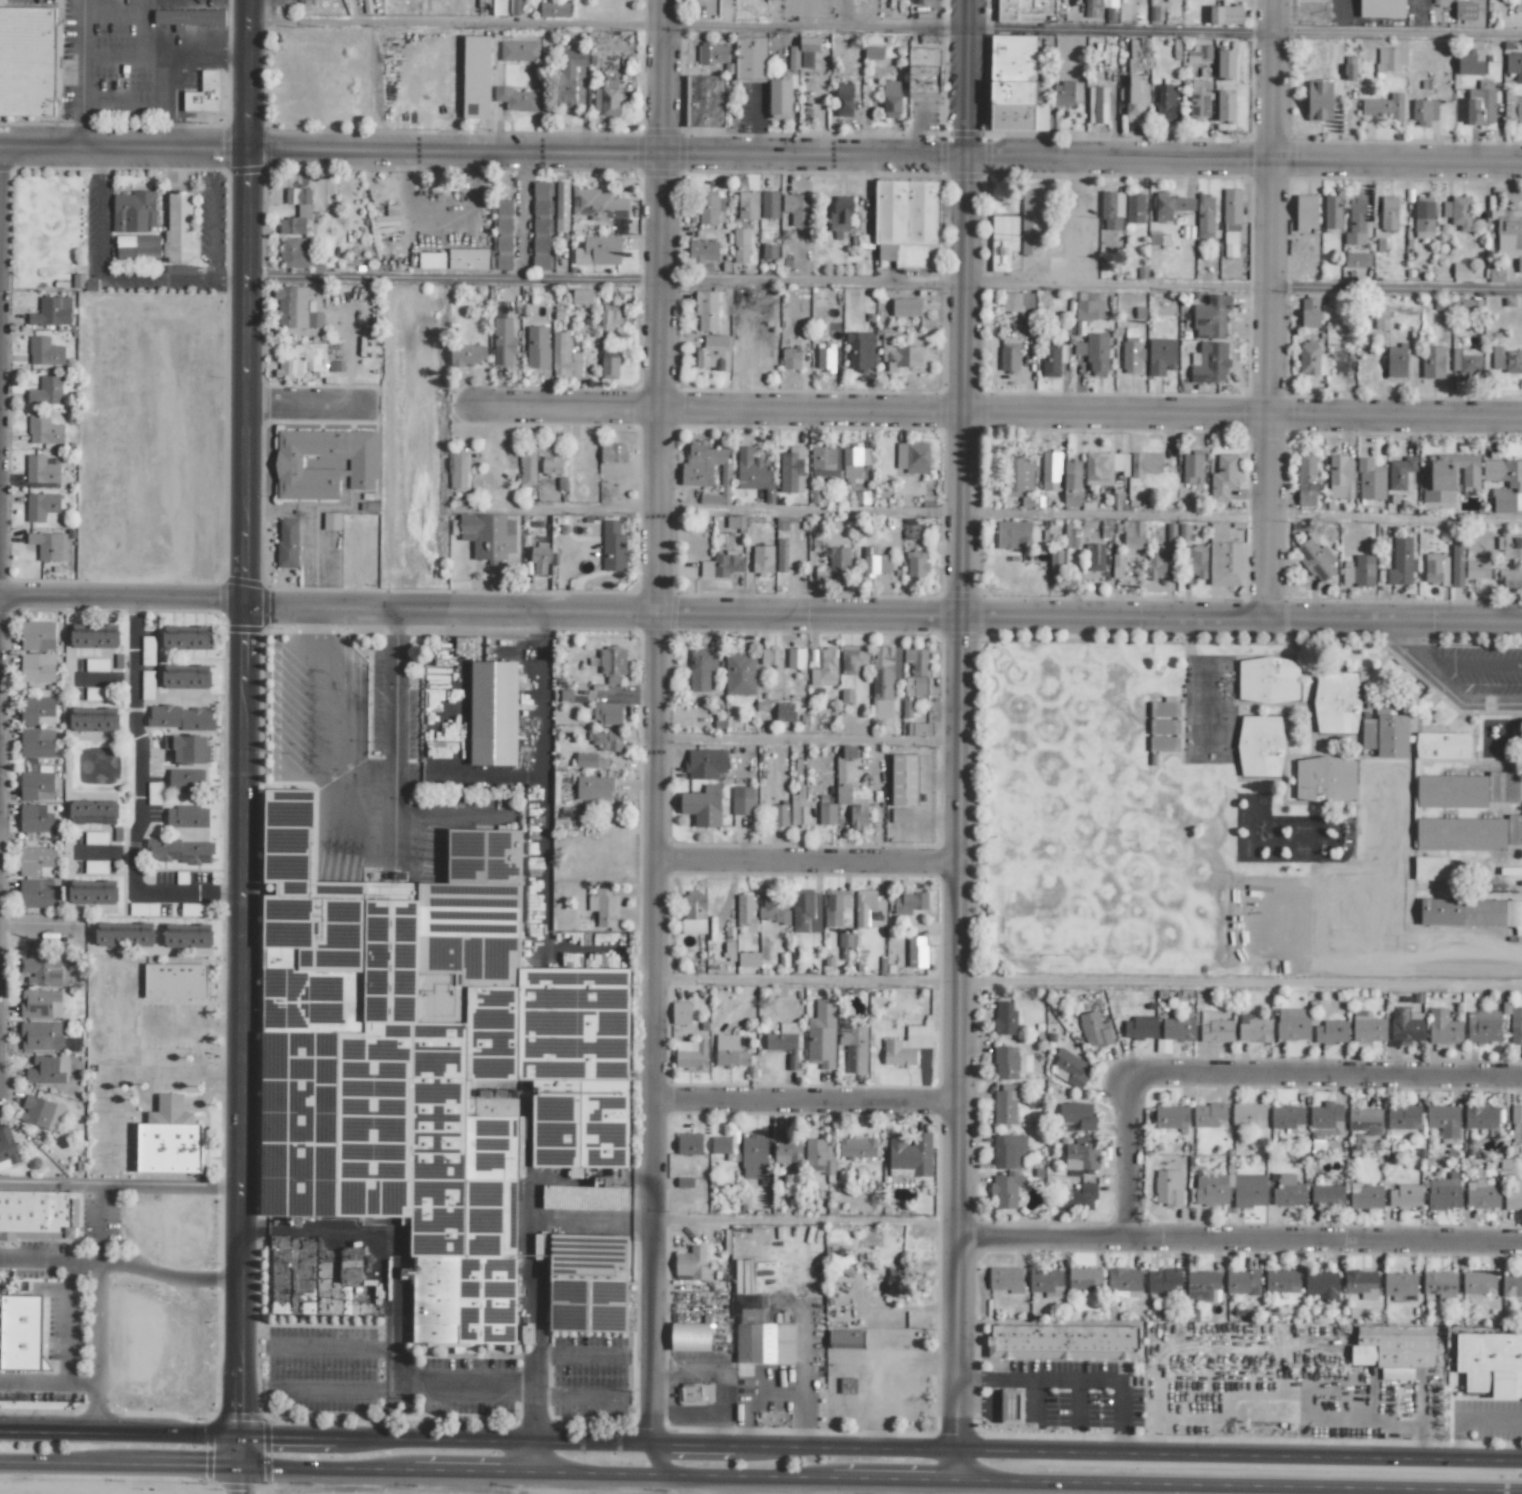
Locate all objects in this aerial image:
building: (1519, 6)
building: (499, 7)
building: (516, 7)
building: (1381, 8)
building: (554, 9)
building: (1024, 10)
building: (1111, 11)
building: (1465, 11)
building: (1225, 14)
building: (188, 18)
road: (457, 21)
road: (1092, 29)
building: (519, 51)
road: (128, 52)
building: (808, 52)
road: (190, 53)
building: (712, 53)
building: (873, 53)
building: (1139, 53)
building: (1198, 54)
building: (793, 57)
building: (750, 59)
building: (1389, 60)
building: (27, 61)
building: (1470, 61)
building: (1226, 65)
building: (1514, 66)
building: (923, 72)
building: (1349, 72)
building: (568, 76)
building: (476, 77)
road: (81, 78)
building: (609, 83)
building: (1014, 85)
building: (204, 93)
building: (1063, 94)
road: (158, 97)
building: (780, 98)
building: (1135, 98)
building: (516, 99)
building: (891, 99)
building: (1199, 99)
building: (703, 100)
building: (843, 100)
building: (606, 101)
building: (1319, 101)
building: (1165, 103)
building: (1097, 105)
building: (1225, 106)
building: (1480, 106)
building: (1384, 107)
building: (1513, 108)
building: (1423, 111)
road: (760, 154)
building: (542, 199)
building: (561, 204)
building: (769, 204)
building: (598, 205)
building: (748, 205)
building: (1169, 205)
building: (709, 207)
building: (504, 208)
building: (796, 208)
building: (1134, 208)
building: (304, 210)
building: (1111, 210)
building: (133, 211)
building: (1332, 211)
building: (1306, 212)
building: (1458, 212)
building: (1389, 214)
building: (840, 215)
building: (1205, 215)
building: (1423, 217)
building: (1032, 218)
road: (213, 219)
road: (1073, 221)
building: (1356, 221)
building: (907, 222)
building: (1231, 222)
building: (502, 226)
building: (179, 227)
building: (1509, 235)
building: (1005, 242)
building: (541, 243)
building: (740, 245)
building: (598, 251)
building: (769, 251)
building: (703, 252)
building: (294, 253)
building: (502, 253)
building: (467, 259)
building: (1357, 259)
building: (431, 260)
building: (1462, 270)
building: (1493, 272)
road: (120, 275)
road: (456, 277)
road: (812, 280)
road: (1241, 287)
building: (584, 297)
building: (1018, 303)
building: (1442, 305)
building: (906, 307)
building: (295, 309)
building: (1088, 309)
building: (51, 311)
road: (1272, 311)
building: (1309, 312)
building: (1211, 317)
building: (609, 318)
building: (1381, 319)
building: (1008, 342)
building: (503, 343)
building: (537, 347)
building: (44, 351)
building: (860, 351)
building: (1094, 352)
building: (713, 353)
building: (898, 353)
building: (468, 354)
building: (1161, 356)
building: (564, 357)
building: (825, 357)
building: (1131, 357)
building: (790, 359)
building: (1052, 359)
building: (1311, 359)
building: (1009, 360)
building: (1505, 360)
building: (304, 361)
building: (1396, 361)
building: (1467, 361)
building: (1432, 362)
building: (1210, 363)
building: (609, 365)
building: (1340, 365)
building: (46, 391)
road: (313, 405)
road: (991, 416)
building: (44, 430)
building: (614, 452)
building: (912, 457)
building: (824, 461)
building: (324, 462)
building: (854, 462)
building: (1145, 464)
building: (551, 465)
building: (527, 467)
building: (1101, 467)
building: (1192, 467)
building: (41, 470)
building: (458, 470)
building: (706, 470)
building: (791, 470)
building: (753, 471)
building: (1050, 471)
building: (1402, 473)
building: (1019, 474)
building: (1448, 476)
building: (1340, 477)
building: (1223, 478)
building: (1306, 480)
building: (1370, 480)
building: (1071, 483)
building: (1514, 484)
building: (41, 506)
road: (1116, 513)
building: (331, 520)
building: (1184, 532)
building: (910, 534)
building: (1013, 534)
building: (1133, 534)
building: (488, 536)
building: (1070, 536)
road: (304, 537)
building: (287, 543)
building: (46, 545)
building: (612, 546)
building: (1510, 546)
building: (781, 555)
building: (1095, 557)
building: (1223, 557)
building: (539, 559)
building: (762, 559)
building: (1315, 559)
building: (1194, 560)
building: (875, 562)
building: (1401, 562)
building: (1457, 562)
building: (839, 563)
building: (916, 563)
building: (1157, 563)
building: (1056, 564)
building: (722, 565)
building: (1117, 565)
building: (1436, 569)
building: (1474, 569)
building: (1359, 571)
building: (1508, 577)
road: (124, 601)
road: (885, 623)
building: (37, 635)
building: (94, 636)
building: (186, 638)
building: (769, 656)
building: (795, 658)
building: (851, 659)
building: (916, 660)
building: (612, 663)
building: (96, 664)
building: (822, 664)
building: (37, 667)
building: (700, 669)
building: (739, 673)
building: (186, 677)
building: (884, 679)
building: (1268, 680)
building: (914, 686)
road: (1446, 686)
building: (846, 696)
building: (1336, 702)
building: (1163, 709)
building: (37, 710)
building: (785, 712)
building: (493, 713)
building: (607, 713)
building: (178, 717)
building: (93, 719)
road: (661, 722)
building: (919, 728)
road: (245, 733)
building: (1385, 733)
building: (607, 741)
road: (961, 741)
building: (37, 743)
building: (1163, 744)
building: (1442, 745)
building: (1260, 746)
building: (188, 749)
building: (847, 751)
building: (589, 760)
building: (705, 763)
building: (904, 779)
building: (1325, 779)
building: (185, 780)
building: (36, 786)
building: (593, 788)
building: (1466, 790)
building: (843, 794)
road: (139, 800)
building: (742, 800)
building: (703, 805)
building: (797, 810)
building: (827, 810)
building: (93, 812)
building: (779, 815)
building: (901, 815)
building: (187, 816)
building: (858, 816)
building: (35, 818)
road: (366, 818)
building: (1514, 830)
building: (1460, 834)
building: (95, 838)
building: (179, 851)
building: (34, 860)
building: (95, 866)
building: (1429, 868)
road: (811, 869)
building: (93, 892)
building: (35, 893)
building: (908, 903)
building: (835, 905)
building: (603, 906)
building: (744, 908)
building: (772, 908)
building: (143, 909)
building: (869, 909)
building: (192, 910)
building: (806, 912)
building: (693, 913)
building: (1471, 913)
building: (411, 916)
building: (124, 934)
building: (187, 936)
building: (845, 938)
building: (916, 952)
building: (748, 959)
building: (45, 971)
road: (1244, 979)
building: (175, 980)
road: (813, 983)
building: (40, 1004)
building: (681, 1013)
building: (1004, 1018)
building: (1292, 1023)
building: (1404, 1025)
road: (190, 1026)
building: (1483, 1026)
building: (1515, 1026)
building: (1140, 1027)
building: (1367, 1028)
building: (1443, 1028)
building: (1178, 1029)
building: (1253, 1029)
building: (1094, 1030)
building: (1216, 1031)
building: (1331, 1032)
building: (821, 1034)
building: (40, 1035)
building: (784, 1042)
building: (854, 1046)
building: (906, 1046)
road: (197, 1051)
building: (729, 1051)
building: (691, 1055)
building: (1009, 1062)
building: (1070, 1069)
building: (47, 1070)
road: (135, 1074)
road: (1245, 1086)
building: (1004, 1105)
building: (581, 1112)
road: (811, 1112)
building: (40, 1113)
building: (1077, 1114)
building: (1209, 1115)
building: (1248, 1115)
building: (1325, 1115)
building: (1170, 1117)
building: (1286, 1117)
building: (1402, 1117)
building: (1481, 1118)
building: (1365, 1120)
building: (1443, 1120)
building: (1516, 1124)
building: (168, 1139)
building: (689, 1143)
building: (7, 1147)
building: (724, 1147)
building: (857, 1148)
building: (788, 1150)
building: (1008, 1151)
building: (1081, 1153)
building: (819, 1156)
building: (910, 1156)
building: (754, 1158)
road: (577, 1182)
road: (120, 1184)
building: (1168, 1187)
building: (1006, 1189)
building: (1230, 1189)
building: (1288, 1191)
building: (1444, 1192)
building: (610, 1194)
building: (1481, 1194)
building: (1327, 1195)
building: (1405, 1195)
building: (1365, 1196)
building: (1078, 1197)
building: (1514, 1197)
building: (38, 1215)
road: (809, 1219)
road: (96, 1222)
road: (1242, 1248)
building: (691, 1264)
building: (356, 1270)
road: (537, 1273)
road: (167, 1276)
building: (1083, 1278)
building: (1004, 1279)
building: (1045, 1280)
building: (1124, 1280)
building: (1281, 1280)
building: (896, 1281)
building: (1163, 1281)
building: (278, 1282)
building: (1241, 1282)
building: (1477, 1282)
building: (1361, 1284)
building: (1439, 1284)
building: (1201, 1285)
building: (1322, 1285)
building: (1399, 1285)
building: (1511, 1285)
road: (95, 1298)
building: (331, 1299)
building: (448, 1300)
road: (67, 1322)
building: (20, 1332)
building: (690, 1336)
building: (845, 1338)
building: (1063, 1342)
building: (763, 1345)
building: (1393, 1347)
road: (373, 1349)
building: (1490, 1363)
road: (1077, 1376)
road: (717, 1379)
road: (47, 1383)
building: (847, 1385)
road: (334, 1390)
road: (461, 1390)
building: (694, 1392)
road: (1033, 1397)
road: (1078, 1401)
road: (976, 1405)
building: (1011, 1406)
road: (1469, 1420)
traffic signals: (238, 1438)
road: (760, 1446)
road: (655, 1465)
traffic signals: (239, 1467)
road: (760, 1477)
road: (238, 1480)
road: (1265, 1490)

